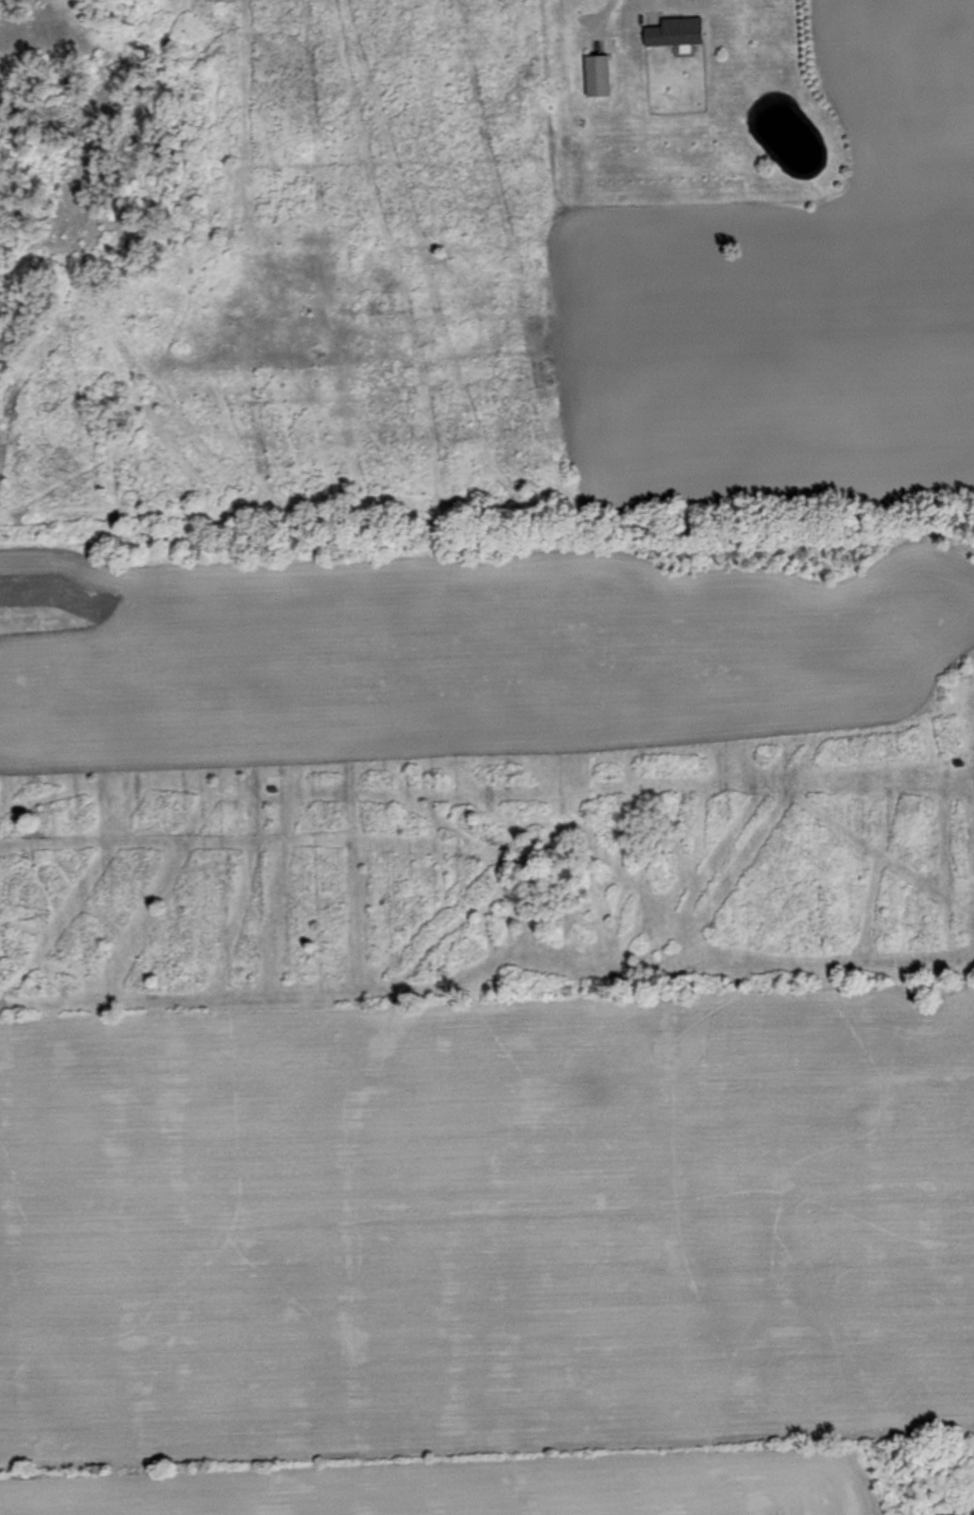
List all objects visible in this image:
building: (676, 32)
building: (597, 76)

